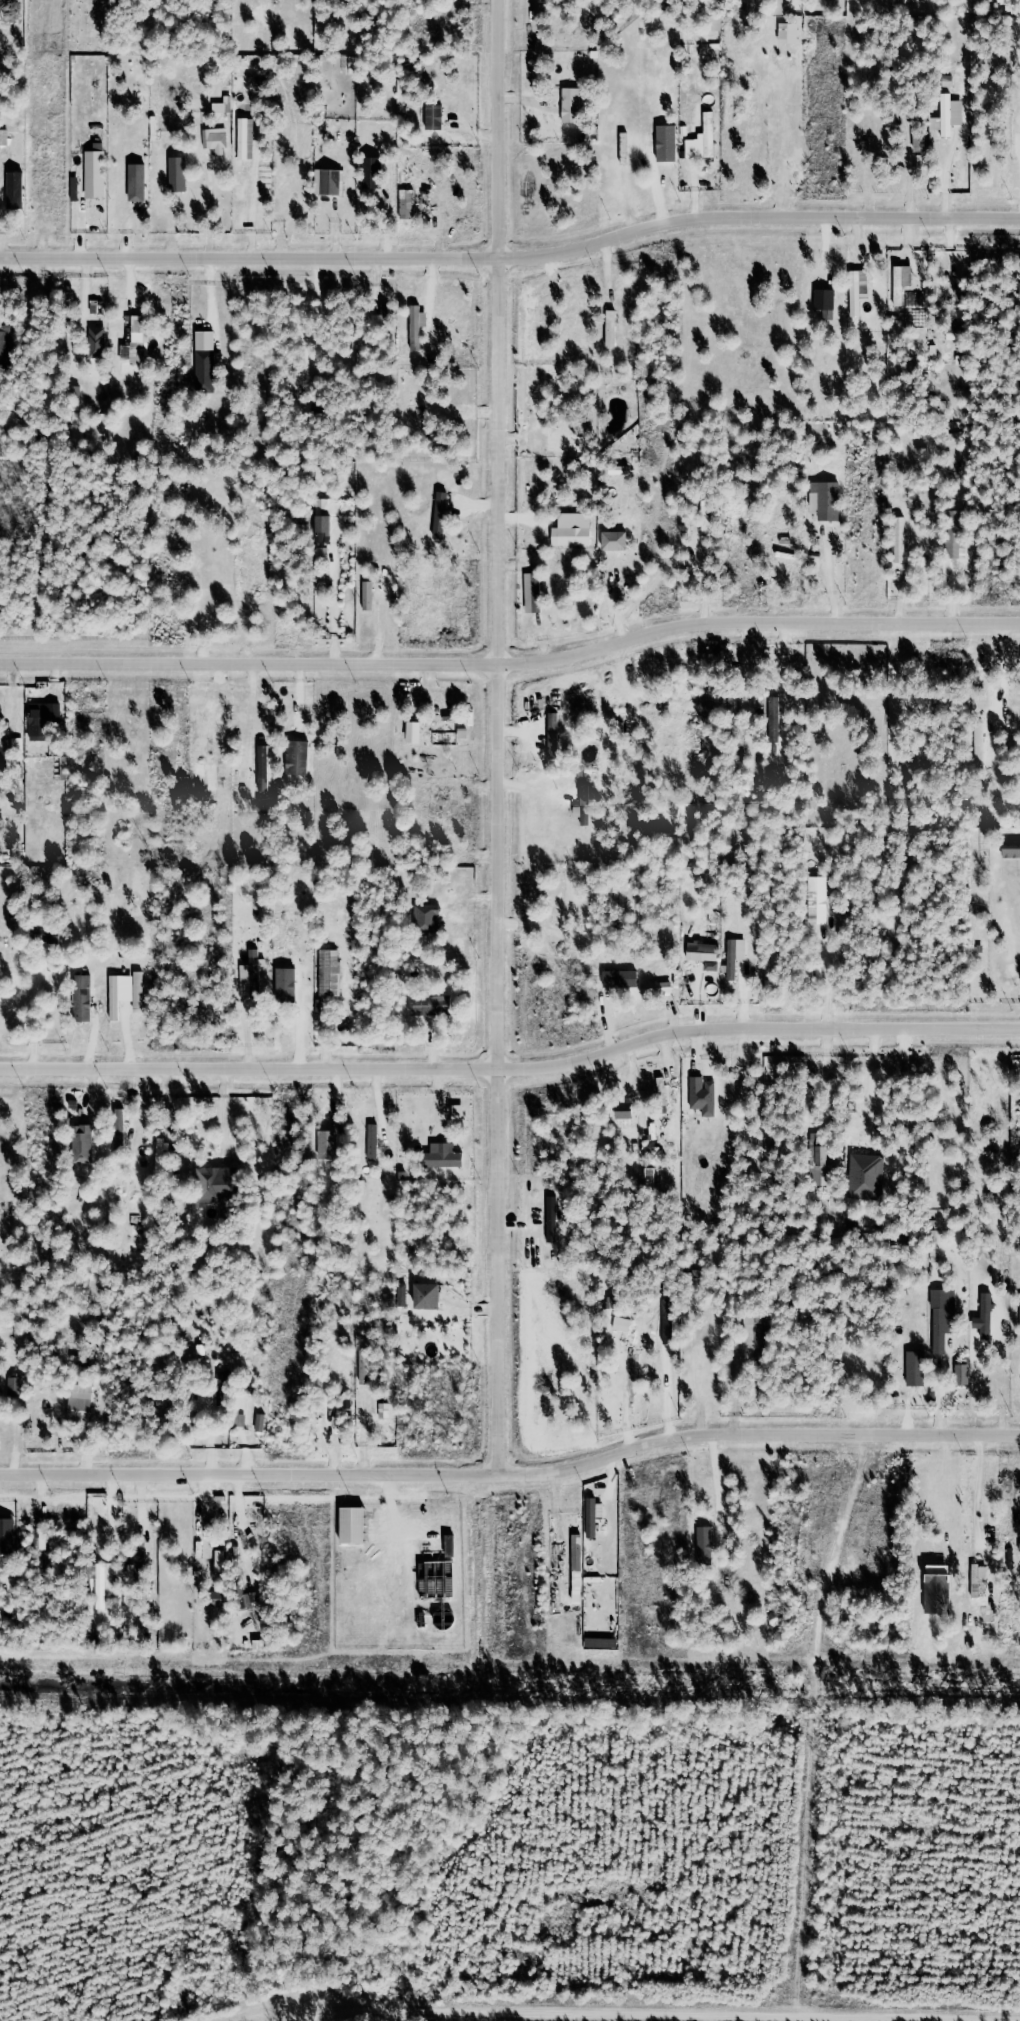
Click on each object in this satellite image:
building: (717, 23)
building: (790, 30)
building: (402, 89)
building: (573, 102)
building: (223, 105)
building: (950, 116)
building: (444, 128)
building: (5, 135)
building: (247, 136)
building: (705, 136)
building: (216, 137)
building: (625, 145)
building: (98, 168)
building: (179, 170)
building: (139, 179)
building: (332, 179)
building: (16, 185)
building: (75, 188)
building: (409, 201)
building: (241, 206)
road: (512, 264)
building: (902, 280)
building: (859, 288)
building: (826, 297)
building: (387, 308)
building: (954, 316)
building: (417, 324)
building: (613, 326)
building: (141, 335)
building: (8, 336)
building: (94, 337)
building: (208, 357)
building: (76, 391)
building: (828, 494)
building: (442, 511)
building: (709, 515)
building: (575, 527)
building: (324, 529)
building: (617, 538)
building: (900, 538)
road: (823, 575)
building: (369, 593)
building: (535, 593)
road: (512, 659)
building: (776, 716)
building: (46, 717)
building: (416, 724)
building: (463, 733)
building: (554, 733)
building: (979, 736)
building: (445, 738)
road: (506, 739)
building: (299, 754)
building: (4, 755)
building: (586, 803)
building: (1013, 845)
building: (819, 897)
building: (428, 913)
building: (47, 934)
building: (705, 946)
building: (737, 953)
building: (332, 968)
building: (254, 973)
building: (618, 973)
building: (658, 985)
building: (115, 995)
building: (82, 998)
building: (434, 1000)
road: (513, 1075)
building: (661, 1087)
building: (705, 1093)
building: (628, 1106)
building: (120, 1128)
building: (86, 1139)
building: (374, 1139)
building: (330, 1142)
building: (446, 1152)
building: (161, 1153)
building: (817, 1159)
building: (867, 1173)
building: (218, 1181)
building: (553, 1215)
building: (431, 1290)
building: (403, 1294)
building: (945, 1314)
building: (987, 1314)
building: (623, 1321)
building: (760, 1326)
building: (365, 1364)
building: (917, 1364)
building: (963, 1370)
building: (1017, 1380)
building: (17, 1382)
building: (248, 1398)
building: (81, 1401)
road: (513, 1478)
road: (718, 1479)
road: (979, 1489)
road: (249, 1512)
building: (593, 1513)
building: (356, 1521)
building: (8, 1533)
building: (707, 1540)
building: (452, 1542)
building: (239, 1556)
building: (139, 1558)
building: (579, 1565)
building: (438, 1576)
building: (979, 1576)
building: (106, 1580)
building: (939, 1585)
building: (246, 1597)
building: (219, 1598)
building: (593, 1641)
road: (824, 1721)
road: (673, 2017)

